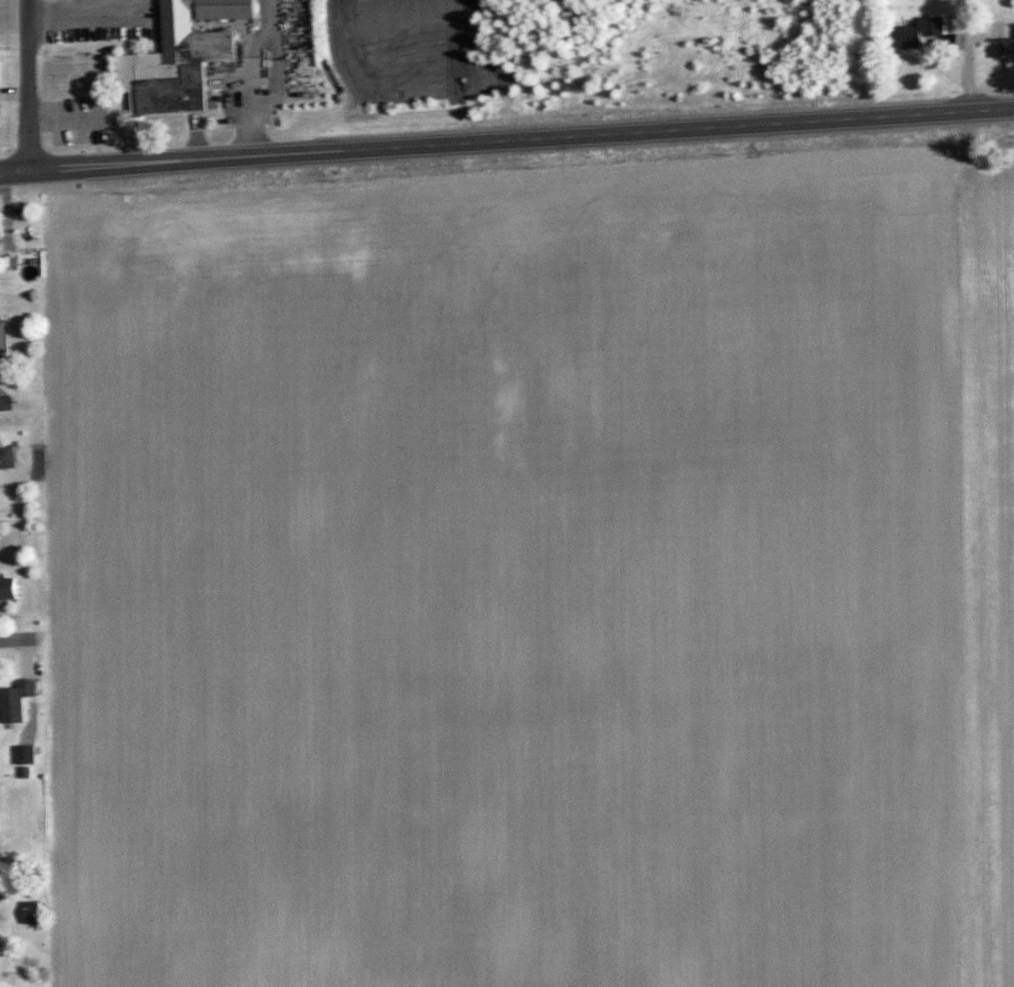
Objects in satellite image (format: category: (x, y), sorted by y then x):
building: (920, 34)
building: (1009, 52)
road: (967, 56)
building: (184, 58)
road: (30, 85)
building: (0, 110)
road: (990, 110)
road: (499, 141)
road: (16, 172)
building: (2, 225)
building: (4, 341)
road: (3, 404)
building: (9, 591)
road: (21, 641)
building: (14, 708)
building: (27, 757)
building: (34, 914)

